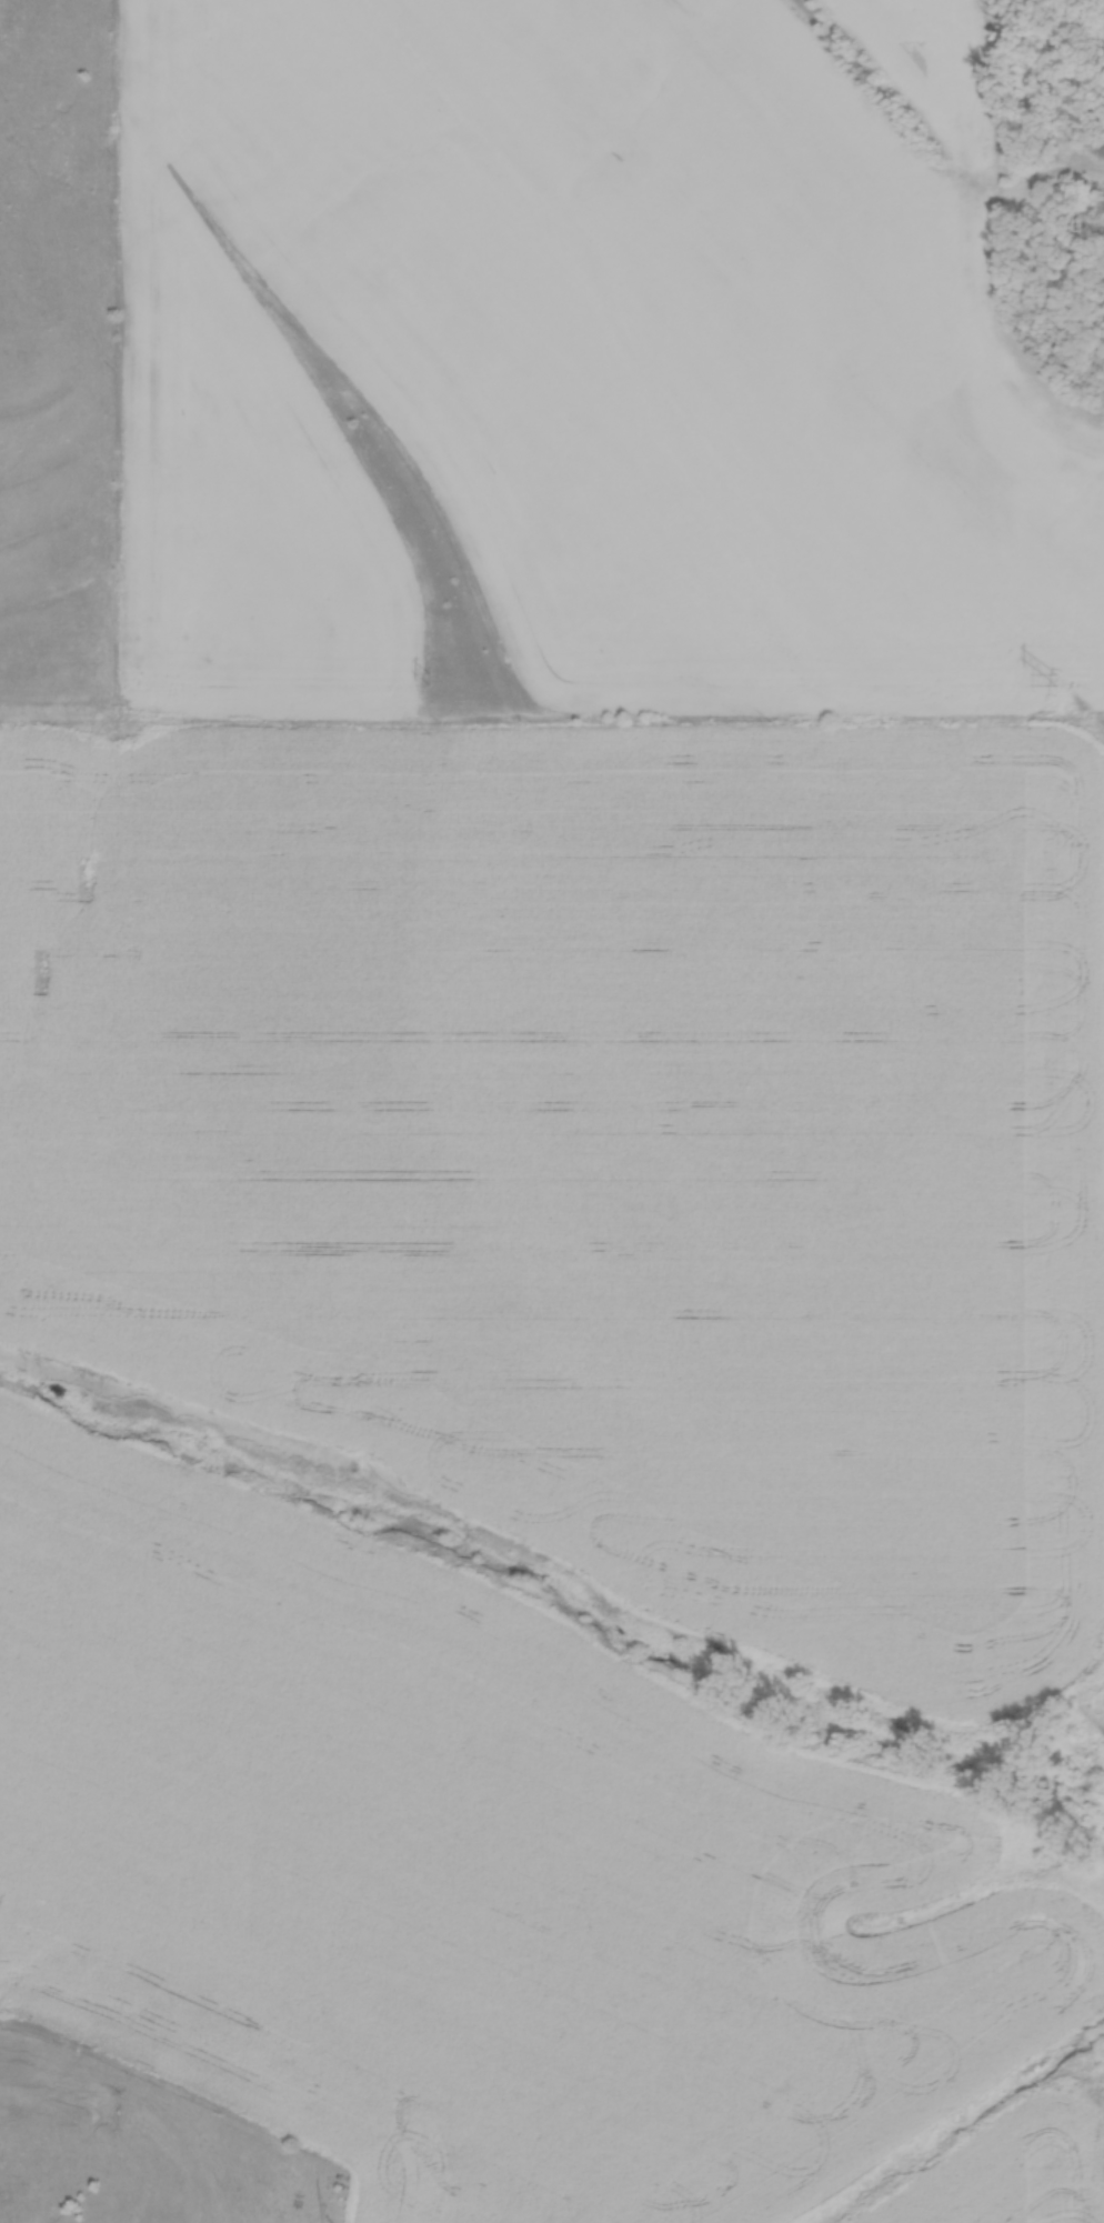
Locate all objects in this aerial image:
power tower: (431, 674)
power tower: (1058, 675)

